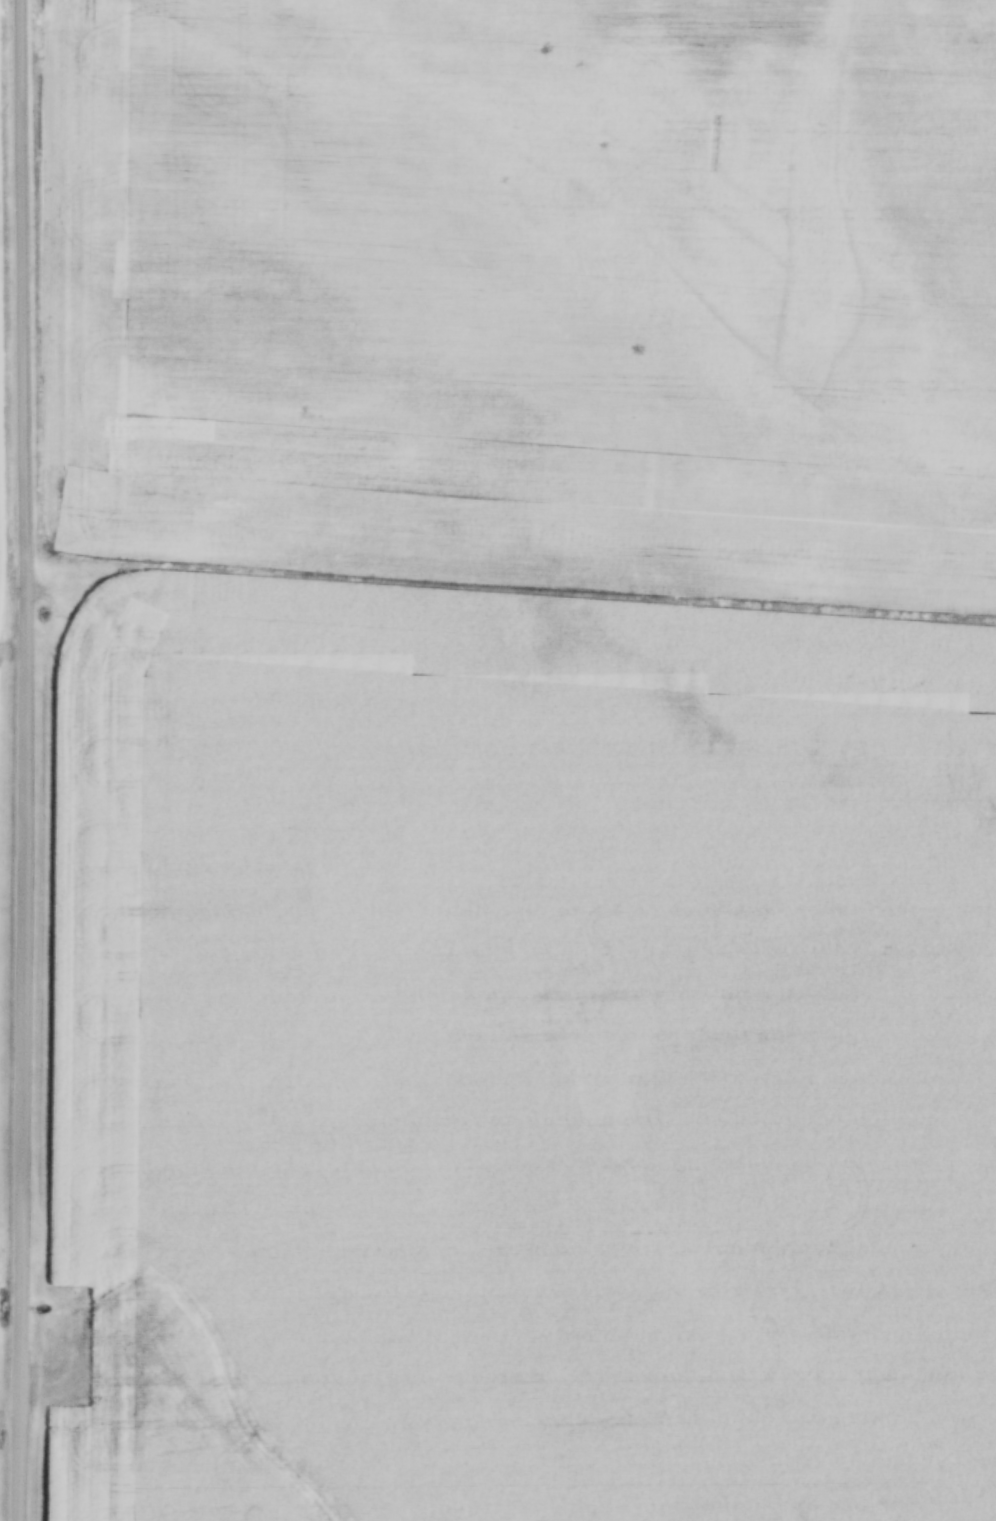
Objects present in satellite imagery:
road: (12, 648)
road: (23, 760)

